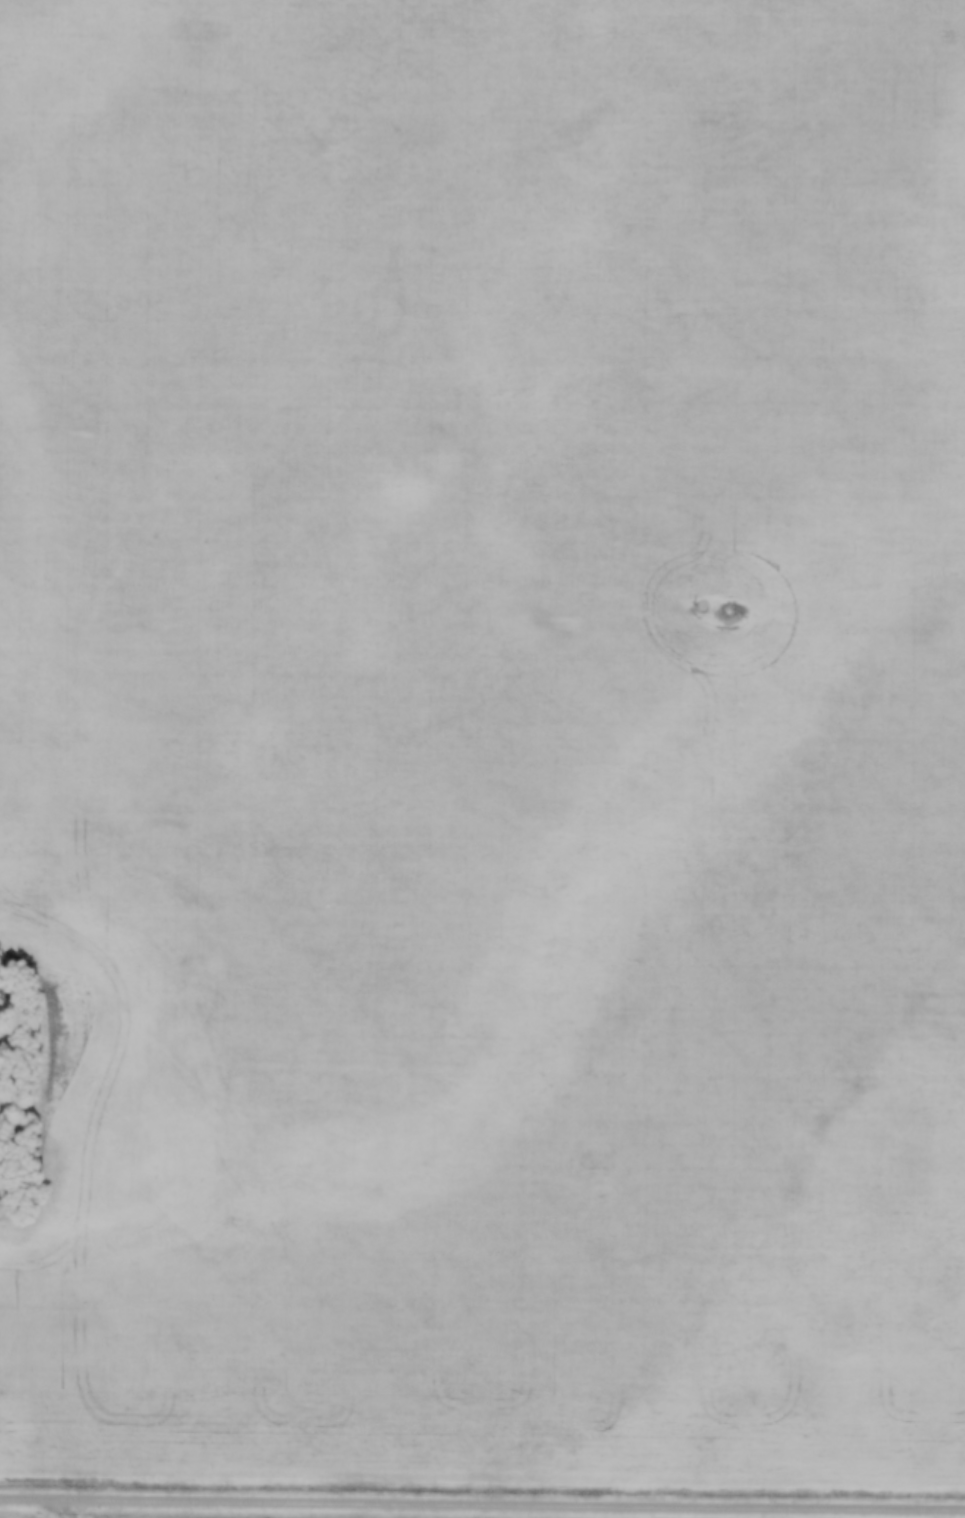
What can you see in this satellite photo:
road: (482, 1507)

